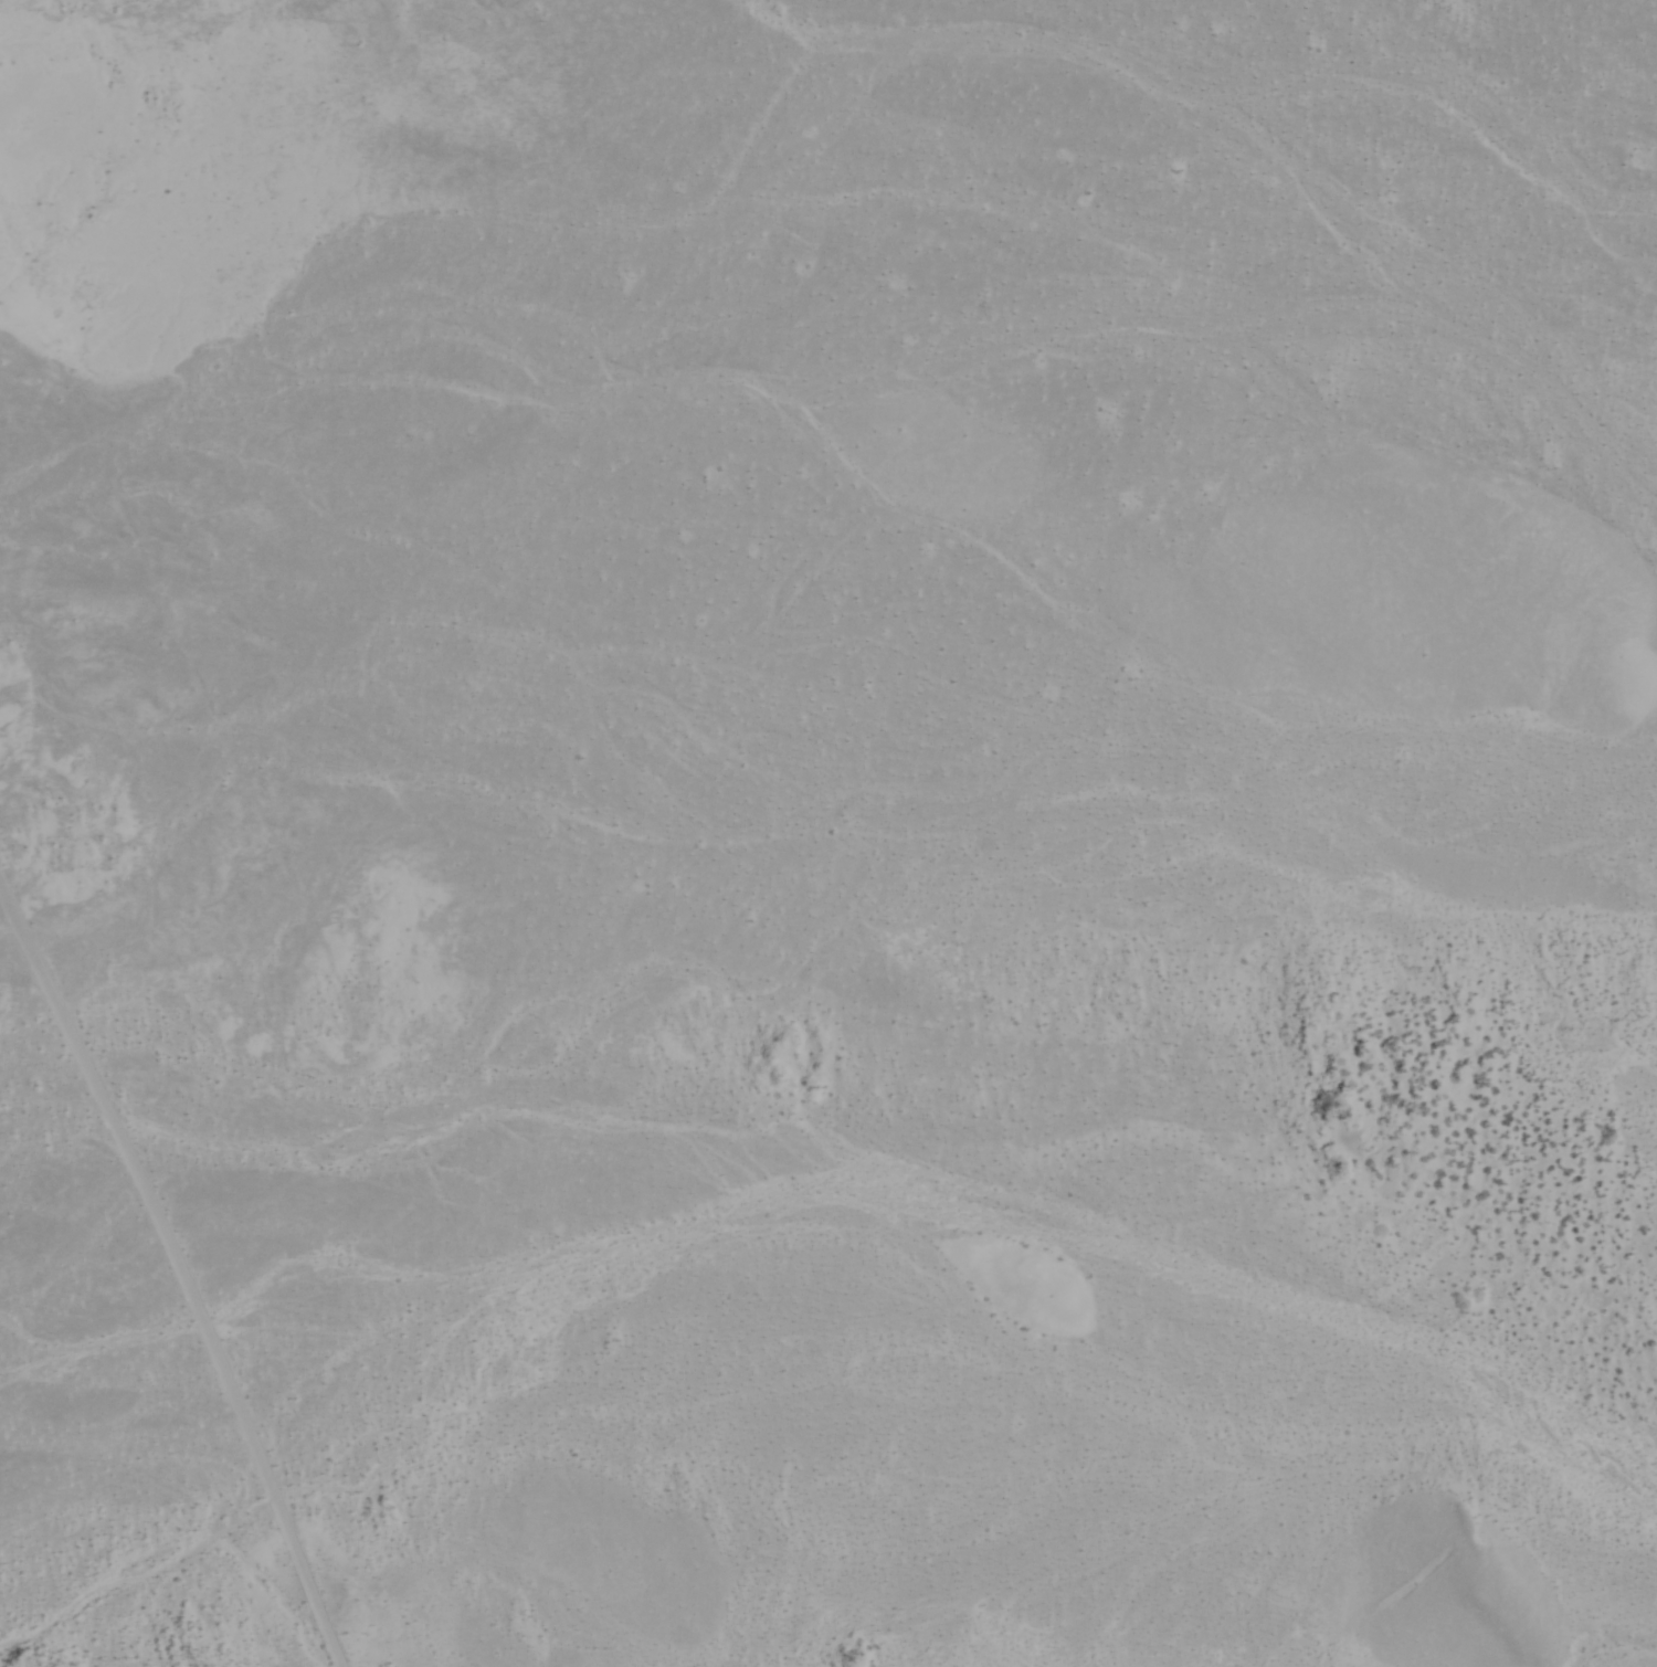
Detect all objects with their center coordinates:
road: (180, 1275)

